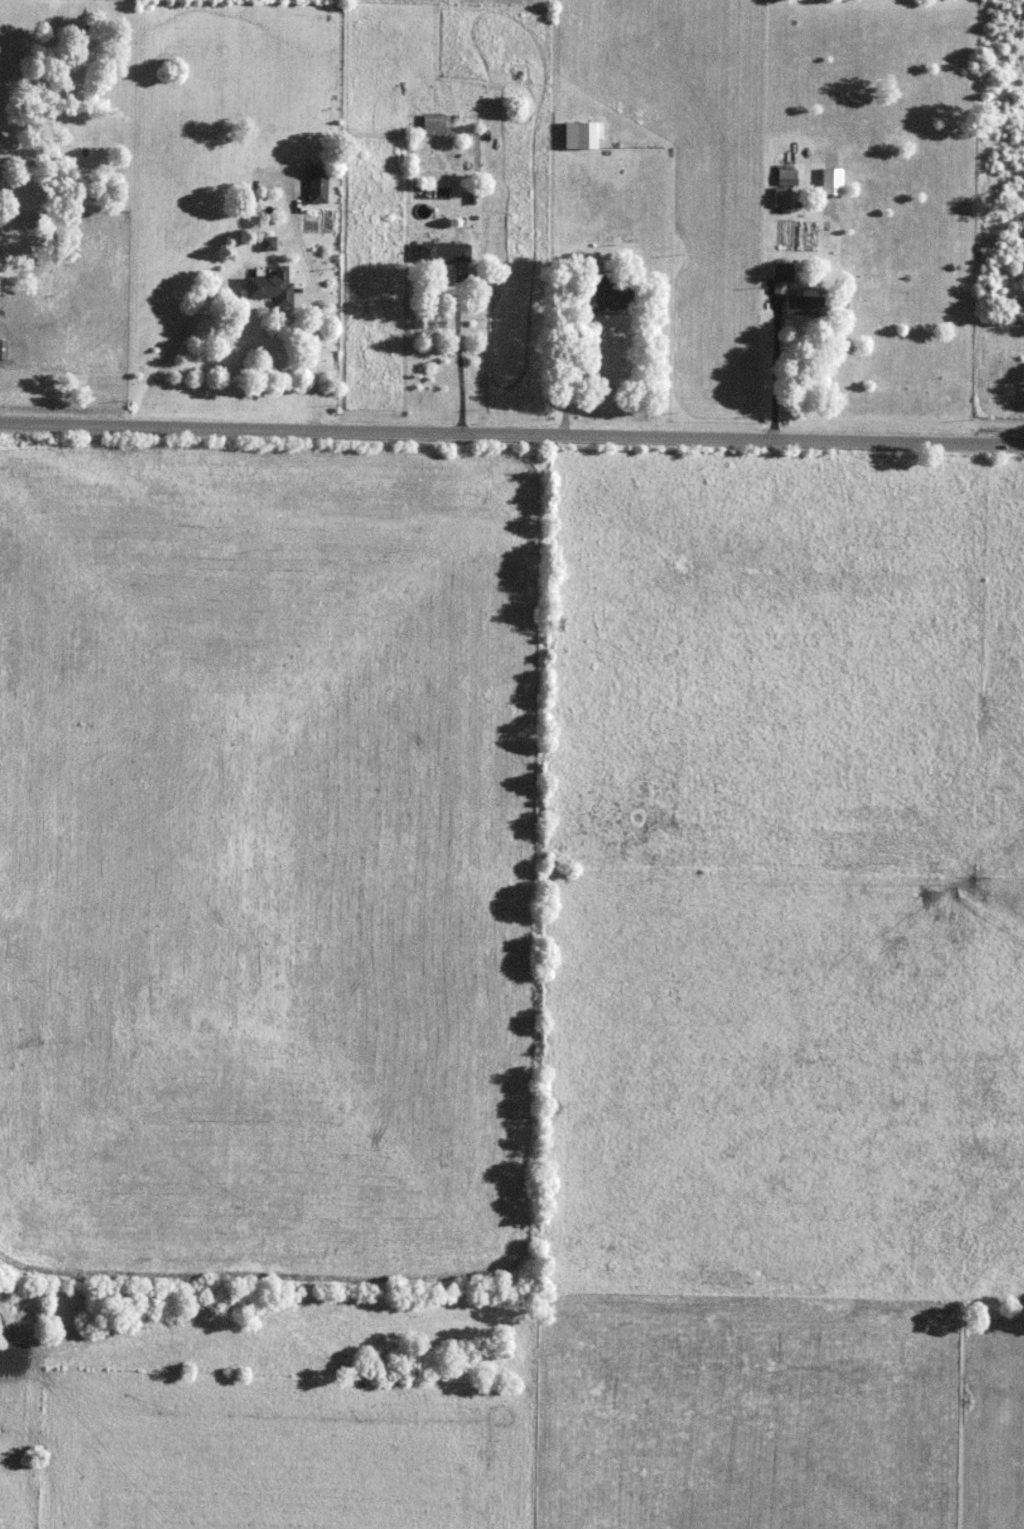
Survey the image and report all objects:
building: (436, 125)
building: (584, 135)
building: (785, 175)
building: (320, 185)
building: (780, 197)
building: (447, 252)
building: (782, 271)
building: (274, 287)
building: (611, 295)
building: (805, 305)
building: (4, 349)
road: (459, 351)
road: (312, 352)
road: (562, 365)
road: (775, 368)
road: (512, 429)
crop: (271, 862)

